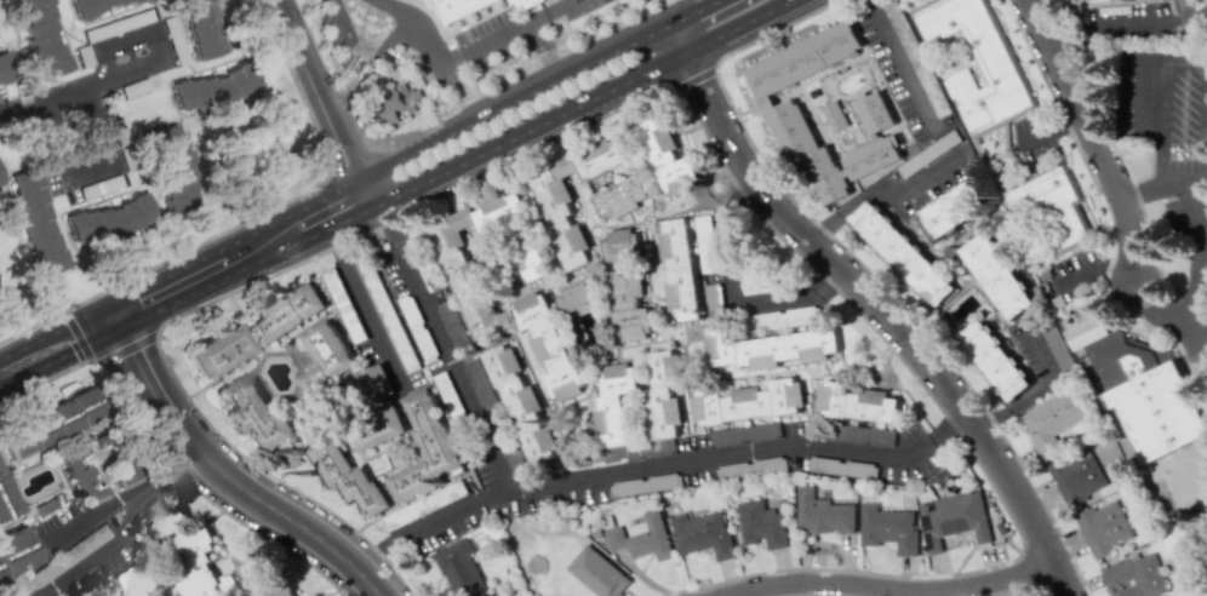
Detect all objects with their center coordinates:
building: (427, 0)
building: (526, 4)
road: (868, 4)
building: (96, 7)
building: (462, 7)
road: (402, 10)
road: (696, 10)
building: (198, 29)
road: (1108, 31)
building: (41, 36)
road: (361, 48)
road: (544, 51)
road: (463, 53)
building: (980, 67)
road: (900, 69)
building: (2, 70)
road: (69, 90)
building: (212, 90)
road: (325, 97)
road: (515, 101)
road: (1163, 102)
road: (579, 103)
building: (393, 105)
building: (780, 110)
building: (834, 115)
road: (1094, 136)
building: (874, 137)
road: (1205, 151)
building: (668, 157)
building: (171, 167)
road: (90, 170)
road: (933, 170)
road: (1163, 184)
building: (620, 197)
road: (853, 204)
building: (1052, 206)
building: (948, 212)
building: (559, 213)
building: (34, 220)
building: (107, 222)
building: (707, 243)
building: (903, 253)
building: (531, 254)
building: (475, 257)
road: (245, 259)
building: (680, 269)
road: (1096, 271)
building: (996, 276)
building: (628, 285)
road: (732, 288)
road: (1194, 290)
building: (576, 297)
road: (881, 302)
building: (347, 304)
road: (362, 305)
building: (287, 314)
building: (780, 320)
building: (1082, 331)
building: (548, 343)
building: (770, 348)
road: (1041, 348)
road: (59, 350)
building: (218, 350)
building: (994, 359)
building: (325, 360)
building: (376, 383)
building: (664, 394)
building: (1146, 394)
building: (614, 402)
building: (748, 402)
building: (857, 402)
road: (1019, 402)
building: (522, 405)
building: (253, 408)
building: (459, 414)
building: (50, 422)
building: (1052, 422)
building: (379, 431)
building: (744, 434)
building: (664, 446)
building: (428, 447)
building: (759, 466)
building: (79, 475)
building: (349, 476)
building: (1076, 476)
road: (584, 477)
road: (233, 478)
road: (124, 495)
building: (5, 499)
building: (427, 504)
building: (822, 514)
building: (954, 518)
road: (433, 522)
building: (761, 525)
building: (1104, 527)
building: (888, 528)
road: (126, 529)
building: (702, 534)
building: (641, 537)
building: (187, 549)
building: (15, 555)
building: (459, 569)
building: (597, 573)
building: (1134, 577)
building: (133, 579)
building: (269, 584)
road: (893, 585)

